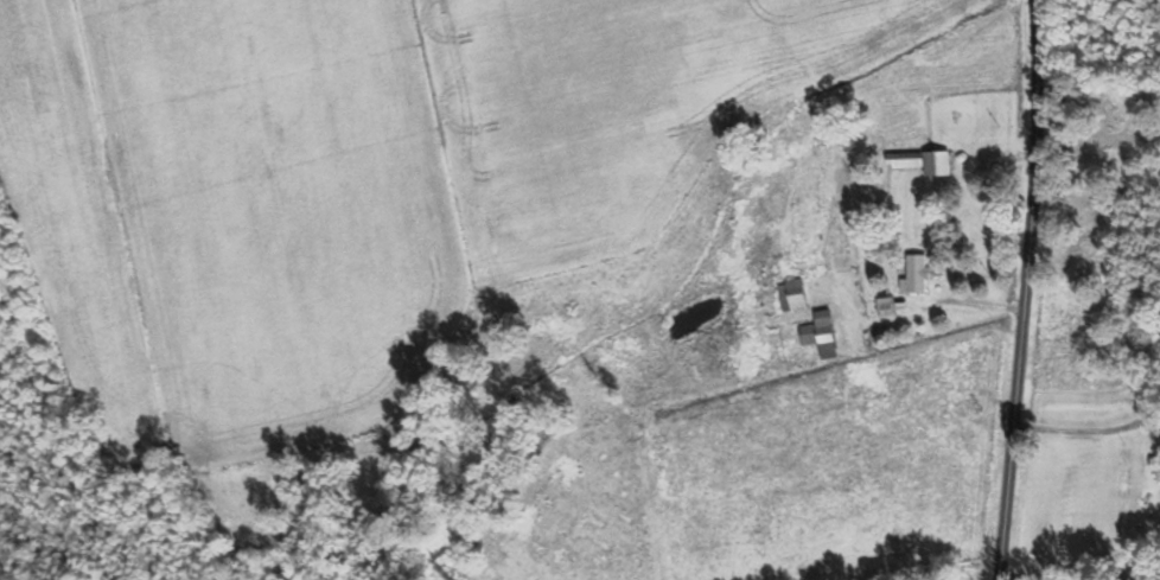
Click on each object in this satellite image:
building: (926, 161)
building: (920, 274)
road: (1026, 289)
building: (797, 297)
building: (887, 307)
building: (823, 336)

